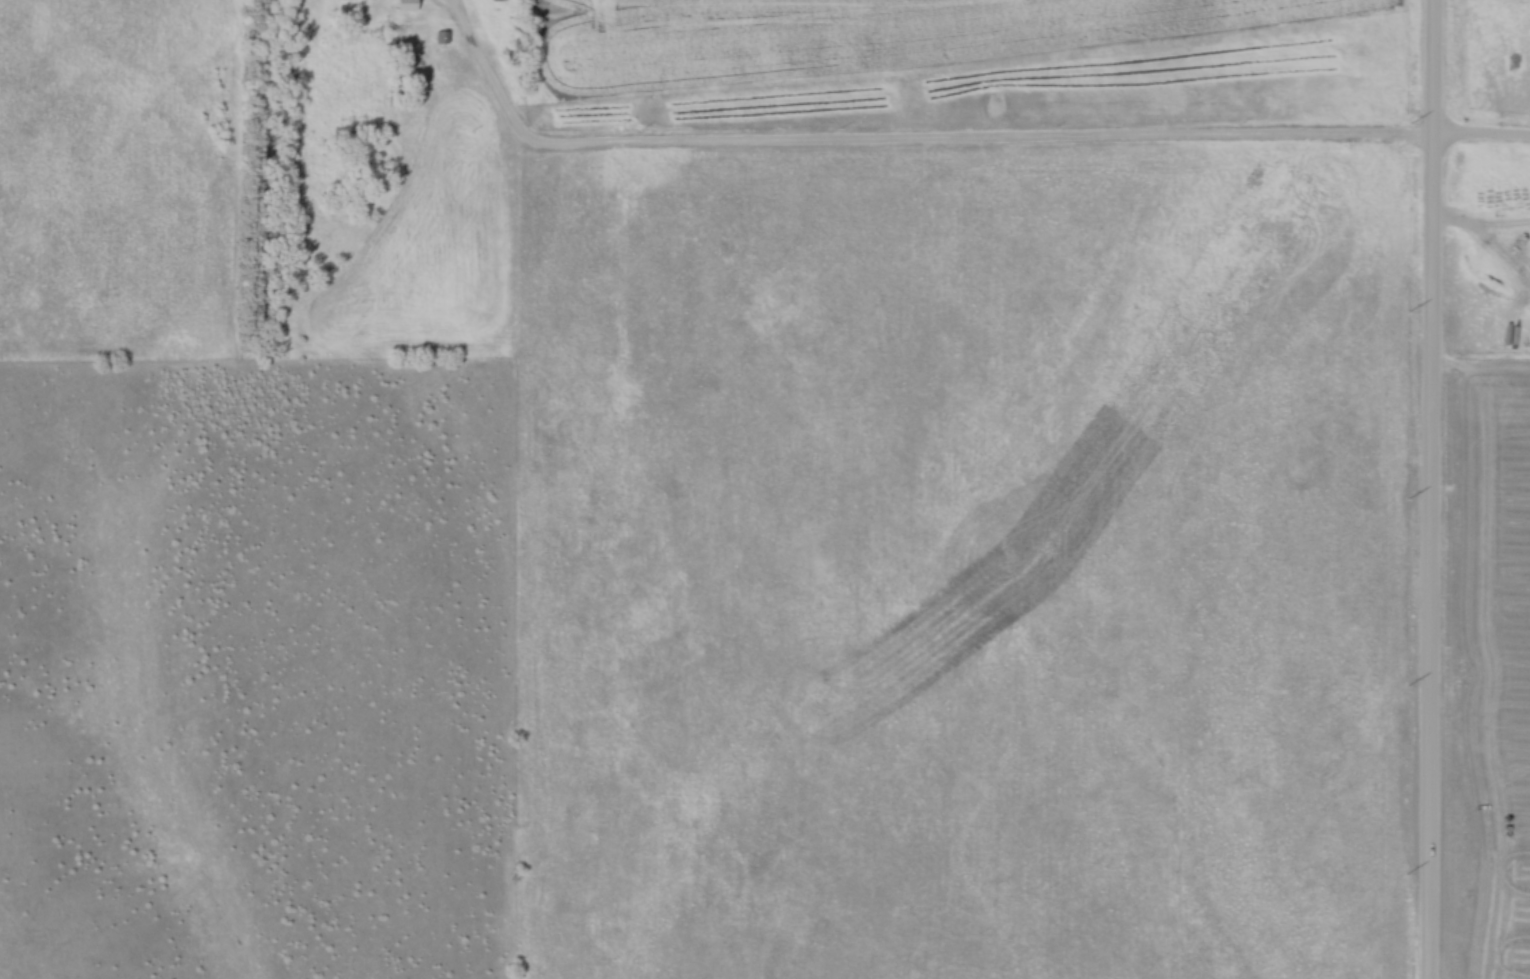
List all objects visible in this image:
road: (947, 141)
road: (1431, 489)

